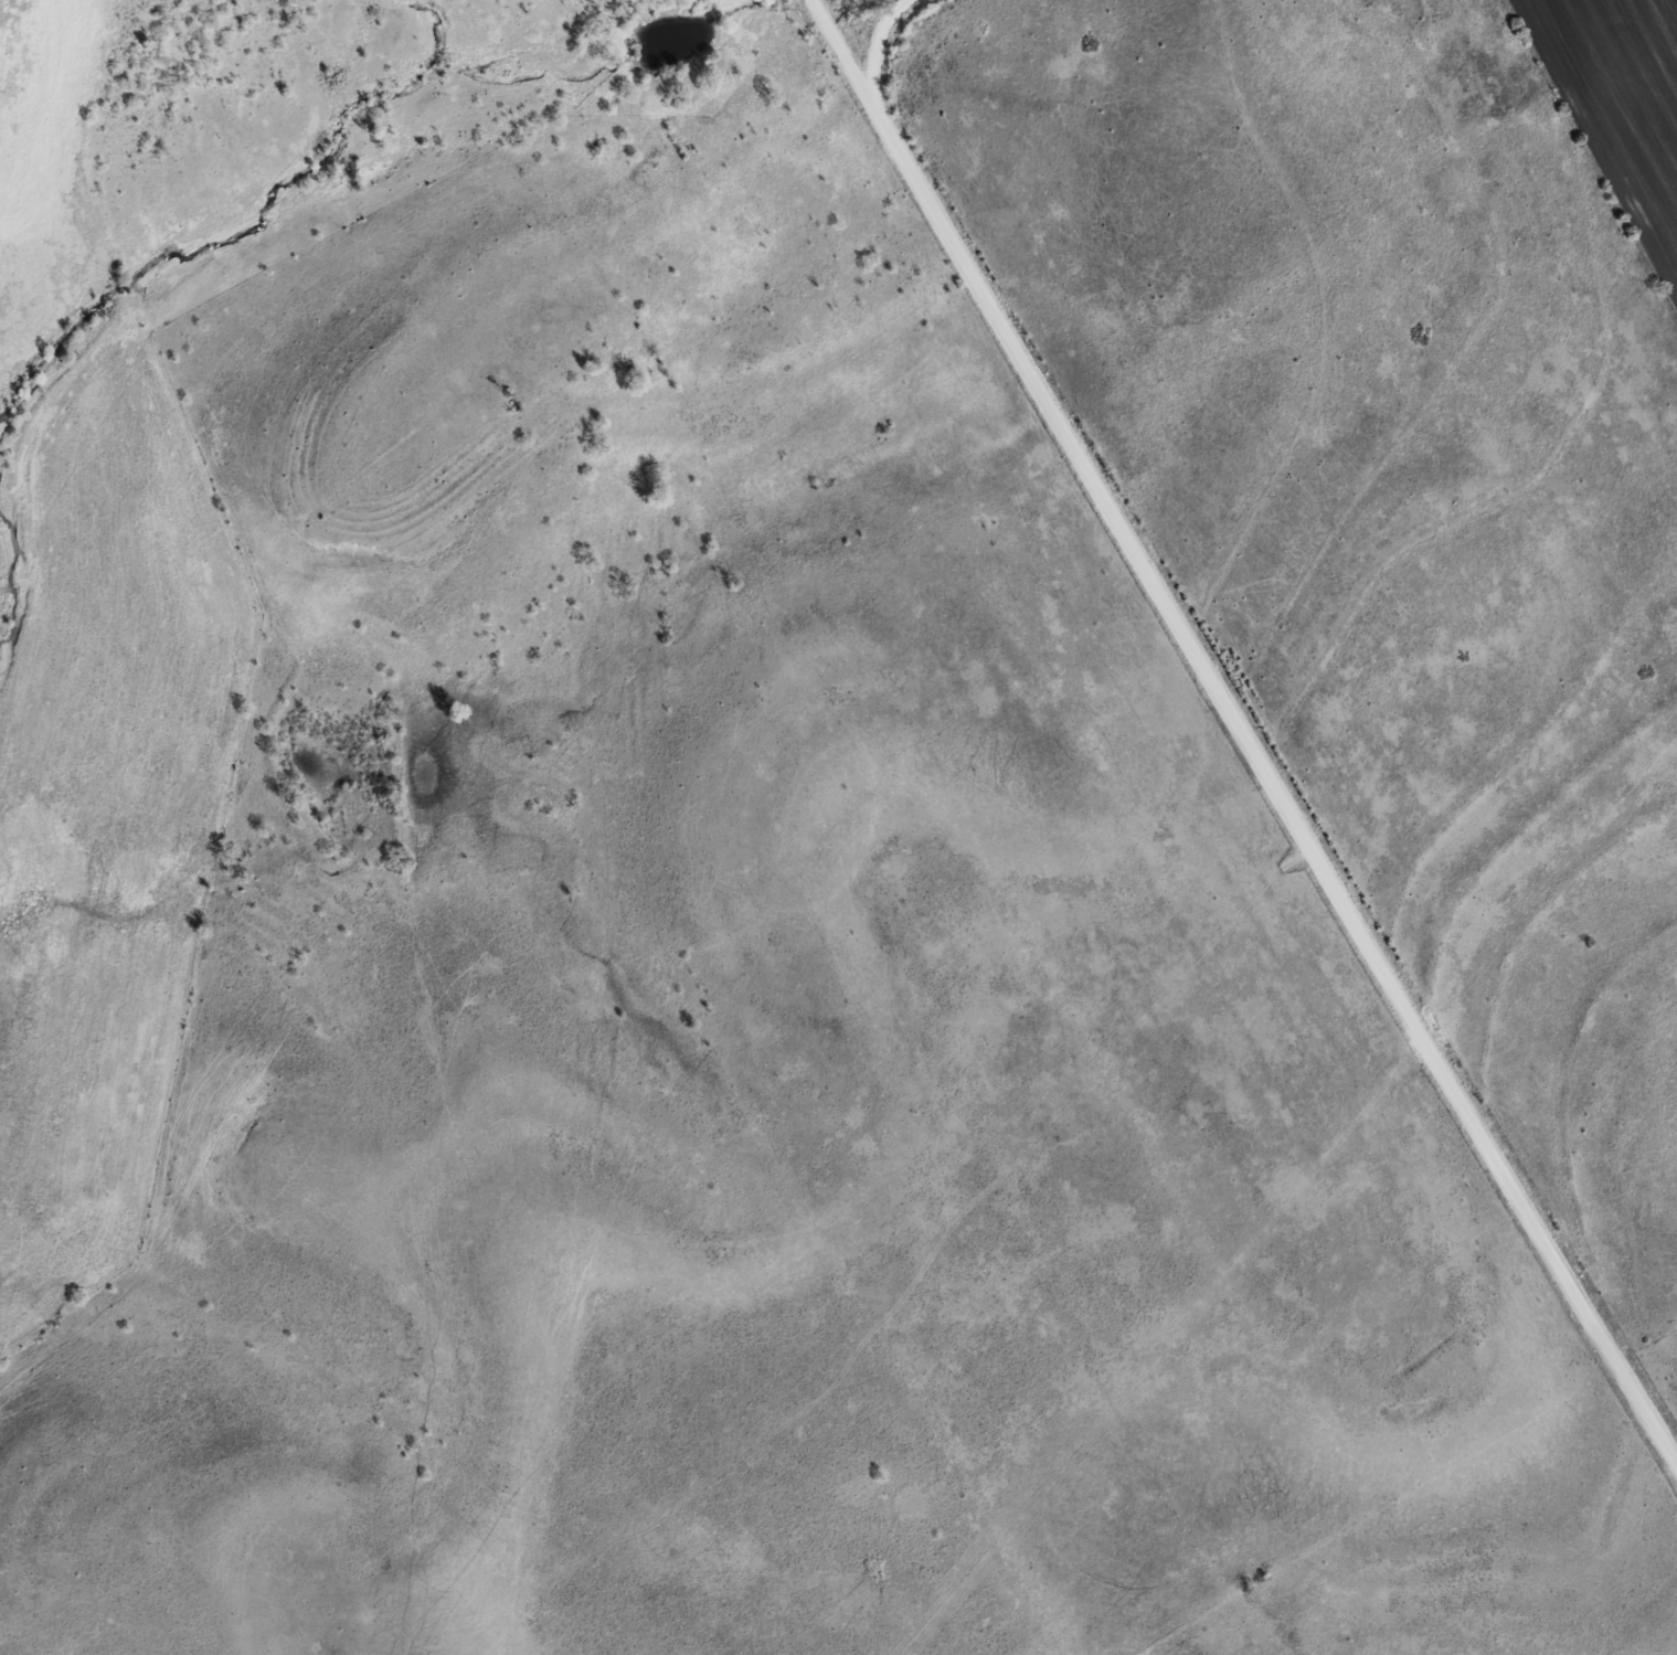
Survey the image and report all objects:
road: (878, 43)
road: (1234, 739)

